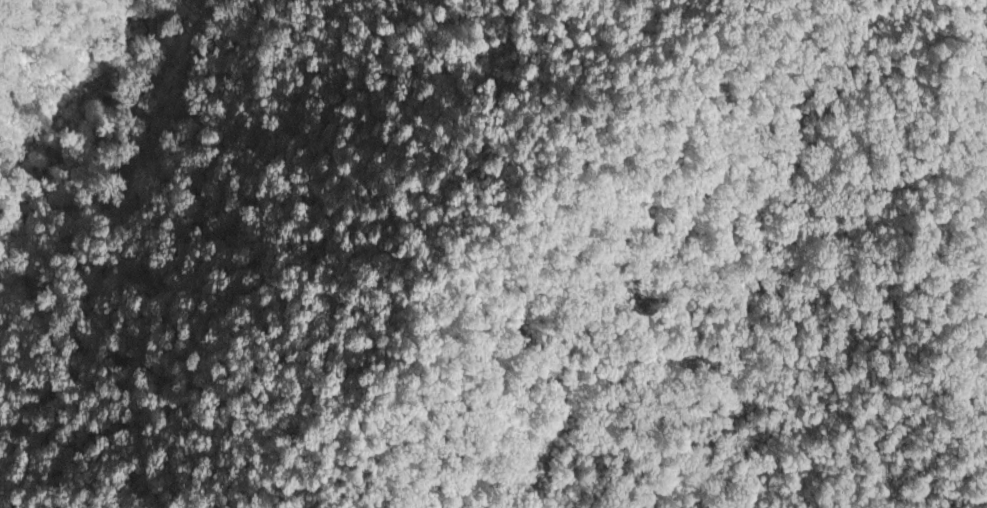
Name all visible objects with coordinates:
road: (86, 143)

